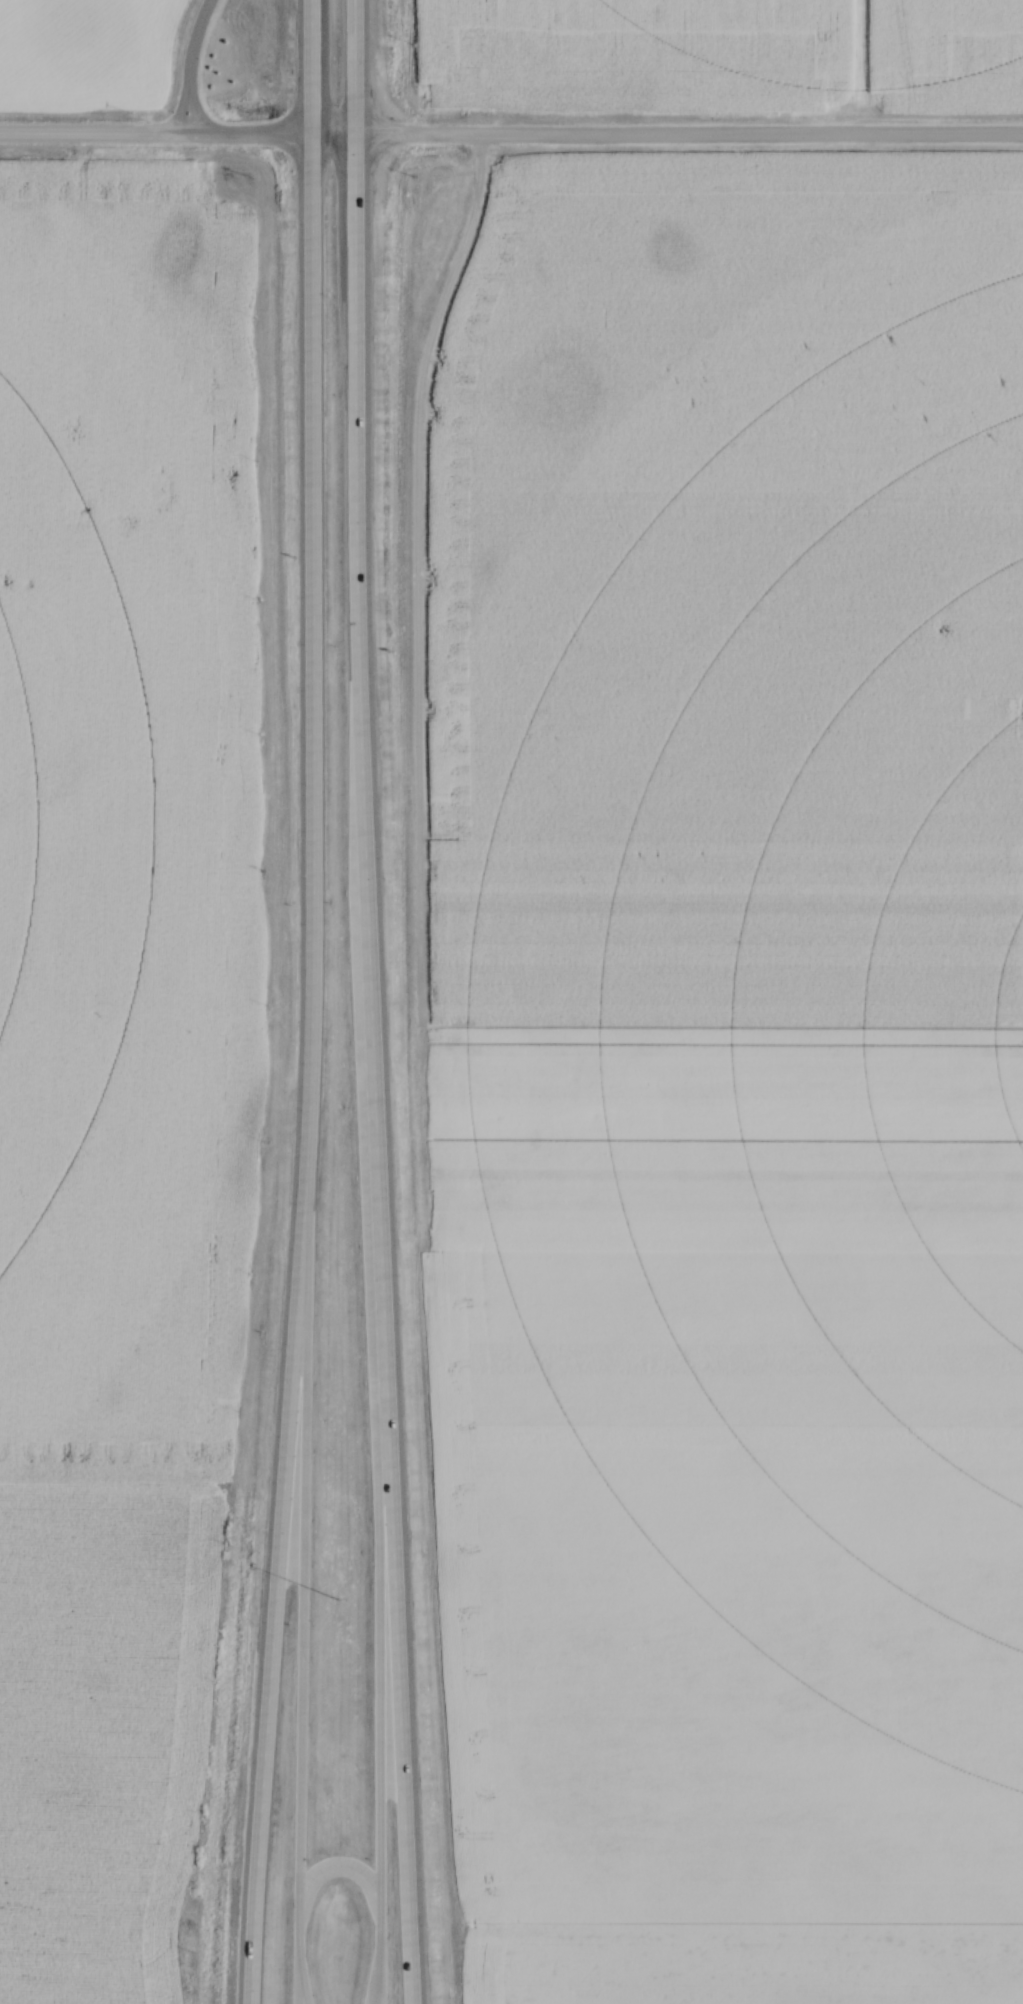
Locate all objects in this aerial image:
road: (190, 67)
road: (96, 138)
road: (273, 138)
road: (688, 139)
road: (364, 1002)
road: (312, 1003)
road: (298, 1604)
road: (386, 1729)
road: (340, 1865)

